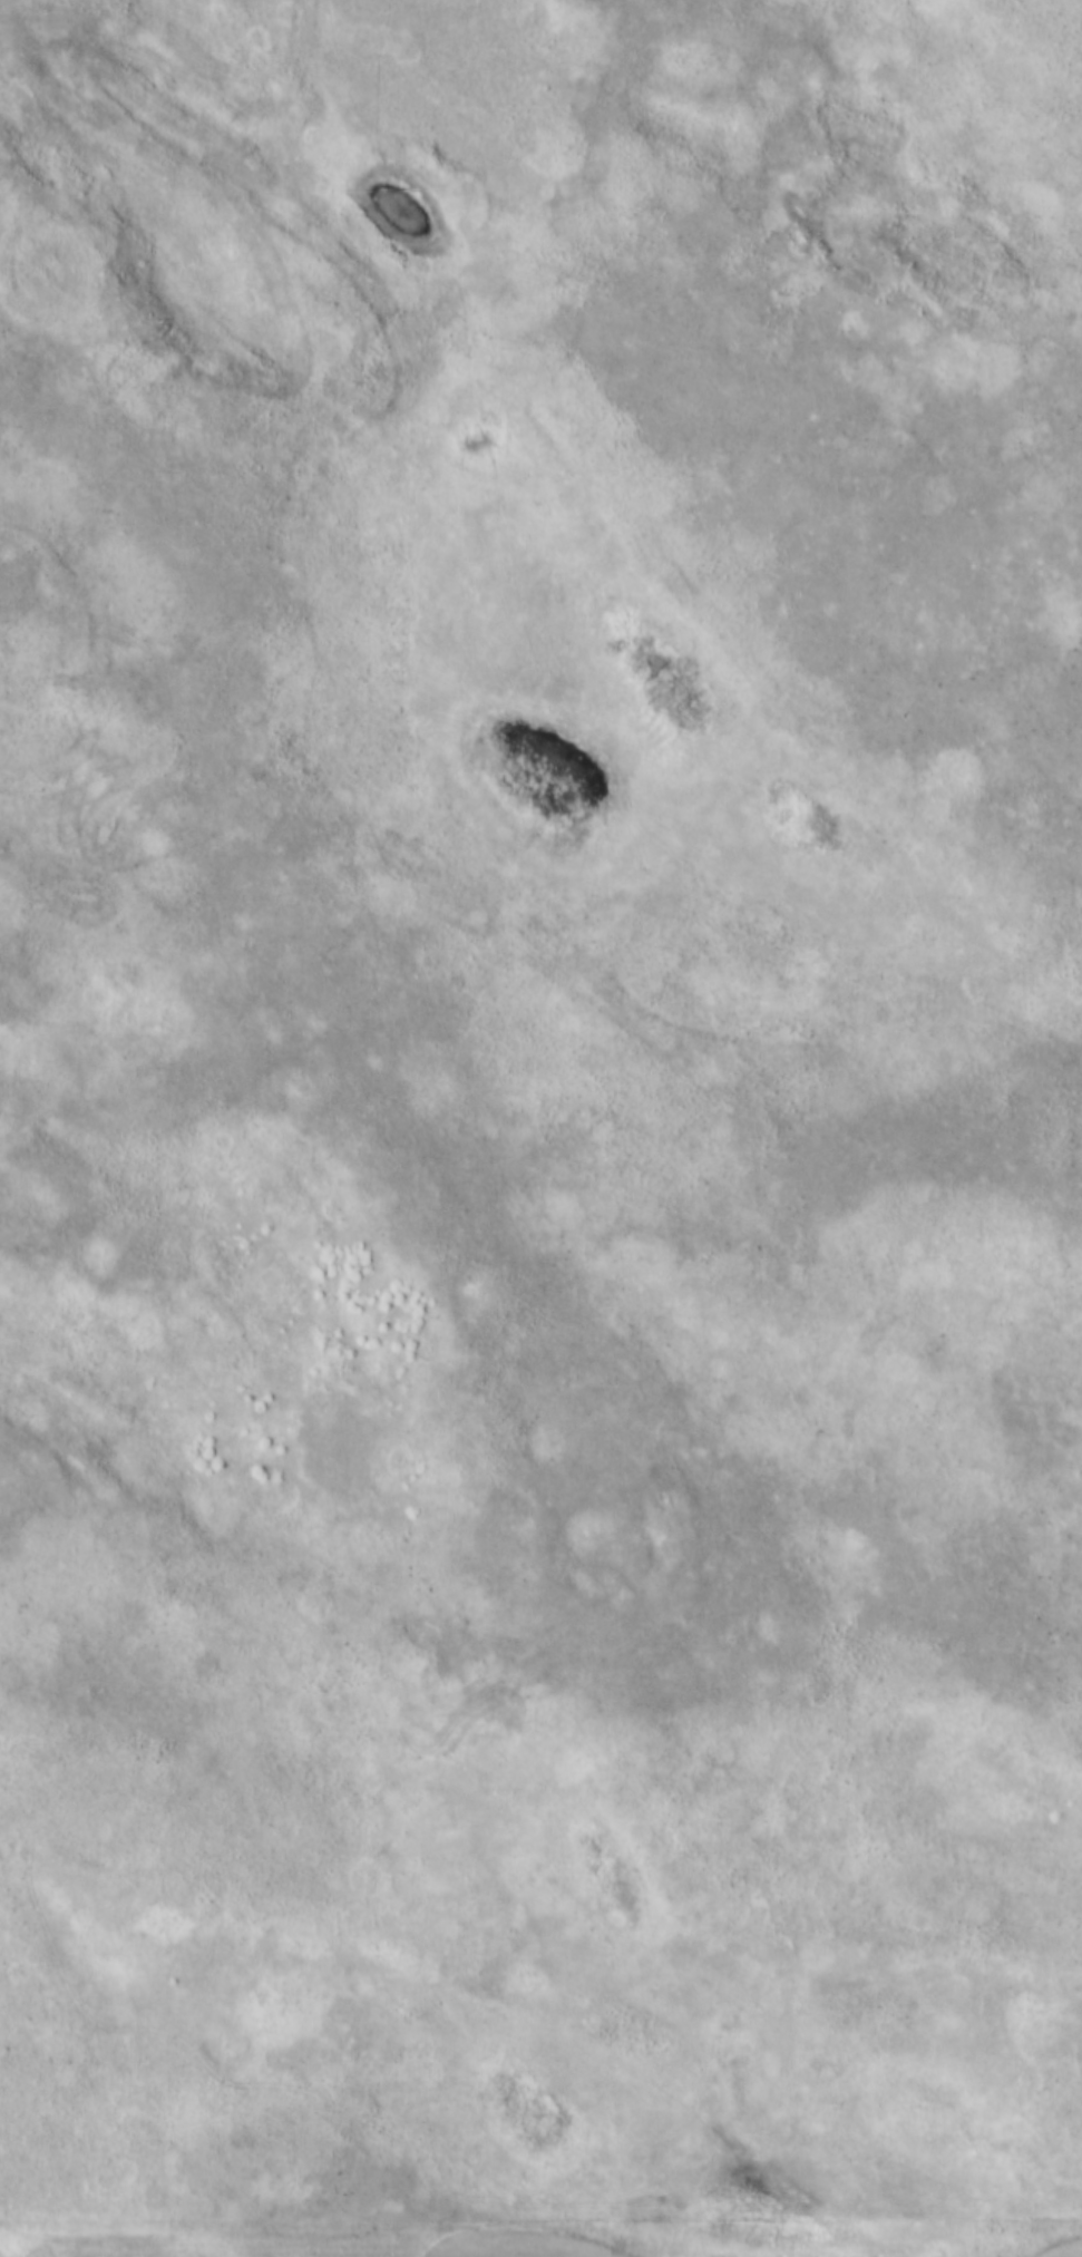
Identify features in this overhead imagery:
road: (540, 2236)

